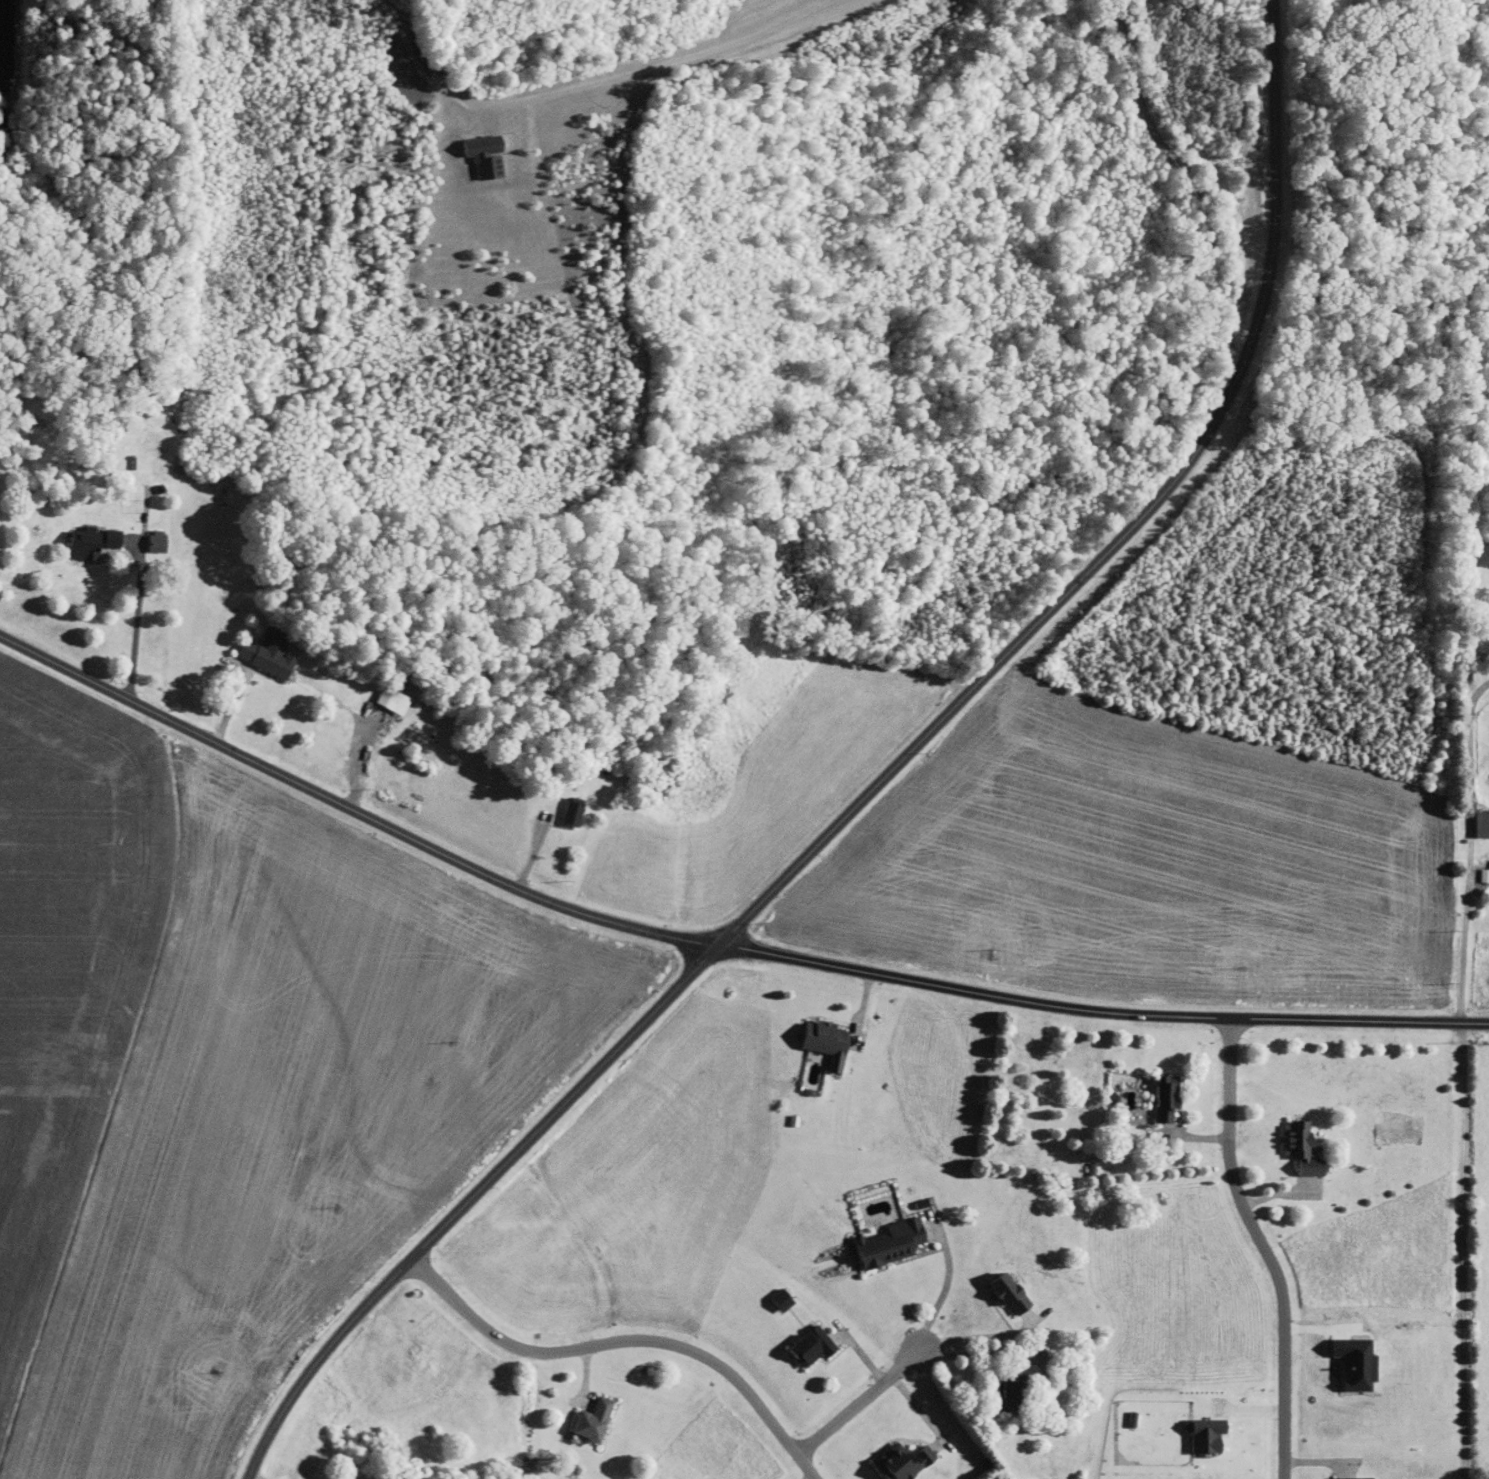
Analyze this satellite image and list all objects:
building: (115, 537)
building: (159, 539)
building: (88, 543)
road: (137, 621)
building: (270, 655)
building: (395, 699)
road: (872, 788)
building: (575, 812)
building: (1483, 823)
road: (1470, 849)
building: (1485, 874)
road: (714, 946)
building: (831, 1041)
building: (1170, 1097)
building: (1304, 1147)
building: (894, 1242)
road: (1262, 1247)
road: (1462, 1251)
road: (948, 1281)
building: (1015, 1293)
building: (785, 1298)
road: (983, 1335)
road: (623, 1341)
building: (816, 1346)
road: (980, 1351)
building: (1021, 1386)
road: (860, 1400)
building: (596, 1419)
building: (1210, 1435)
building: (905, 1462)
building: (1359, 1478)

